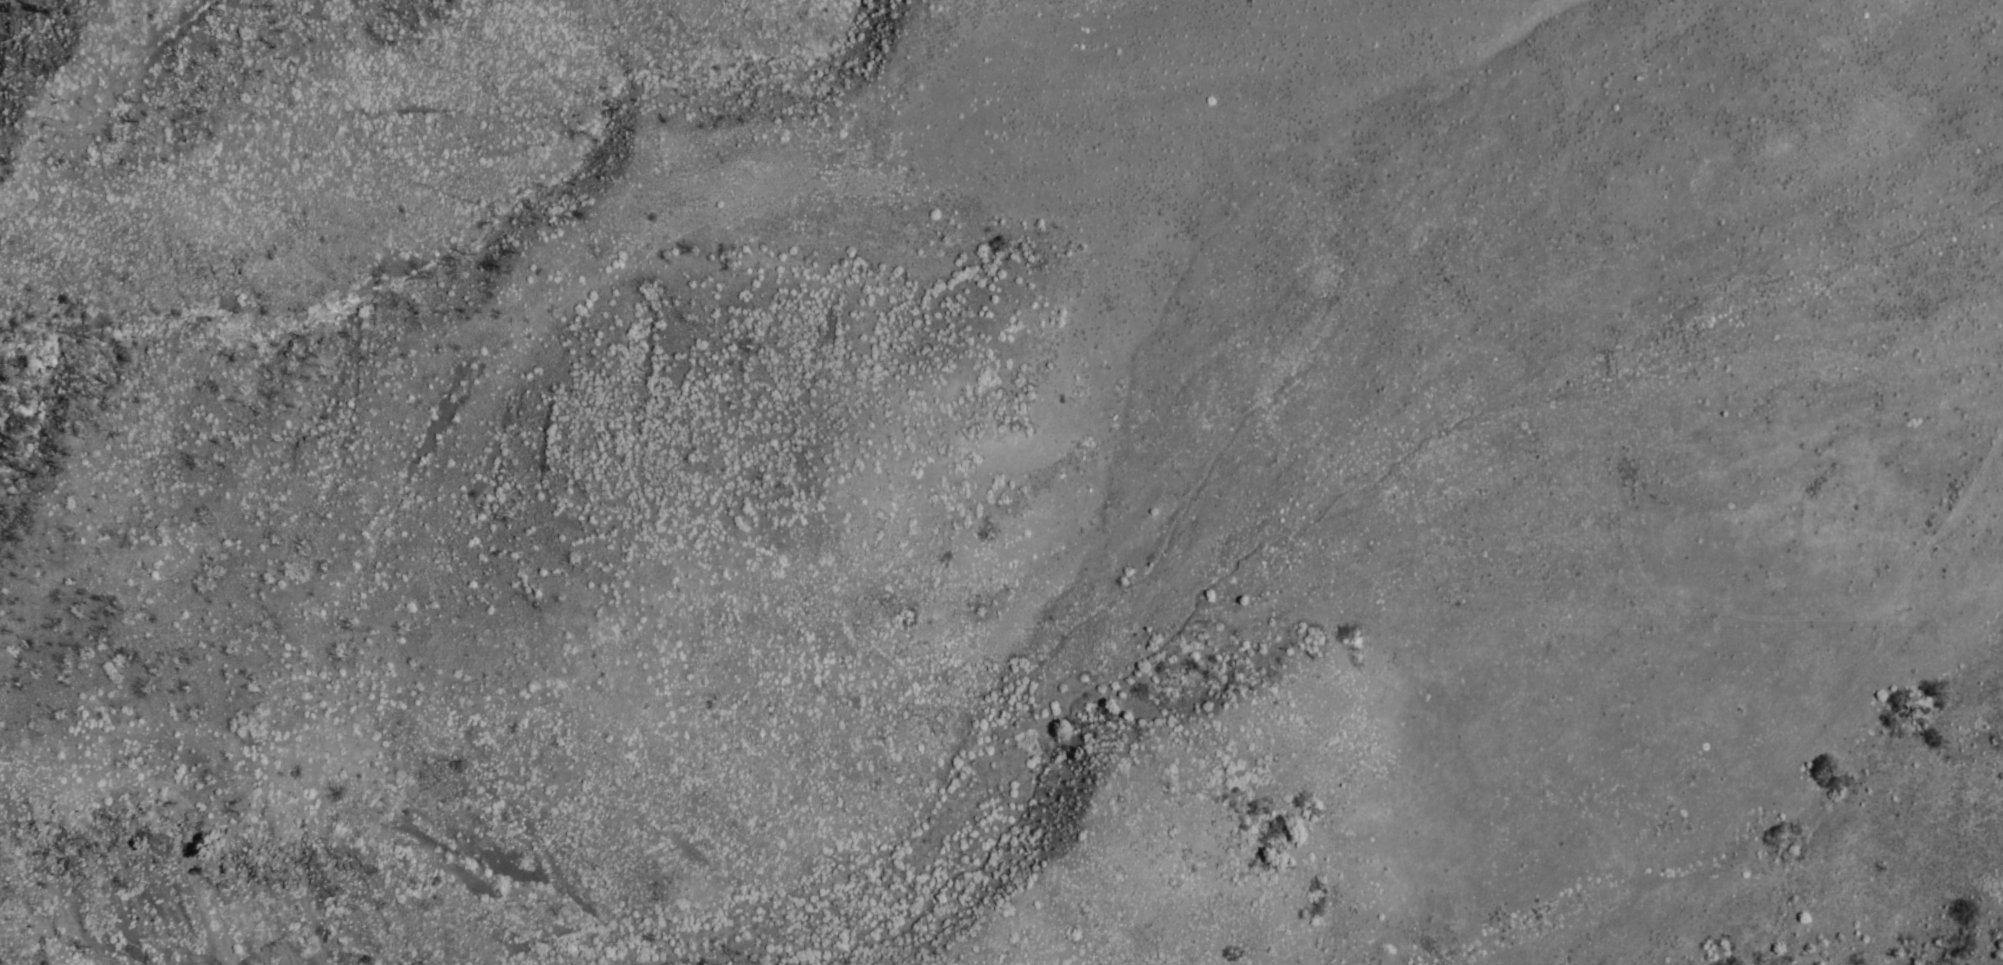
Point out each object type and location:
road: (1657, 616)

